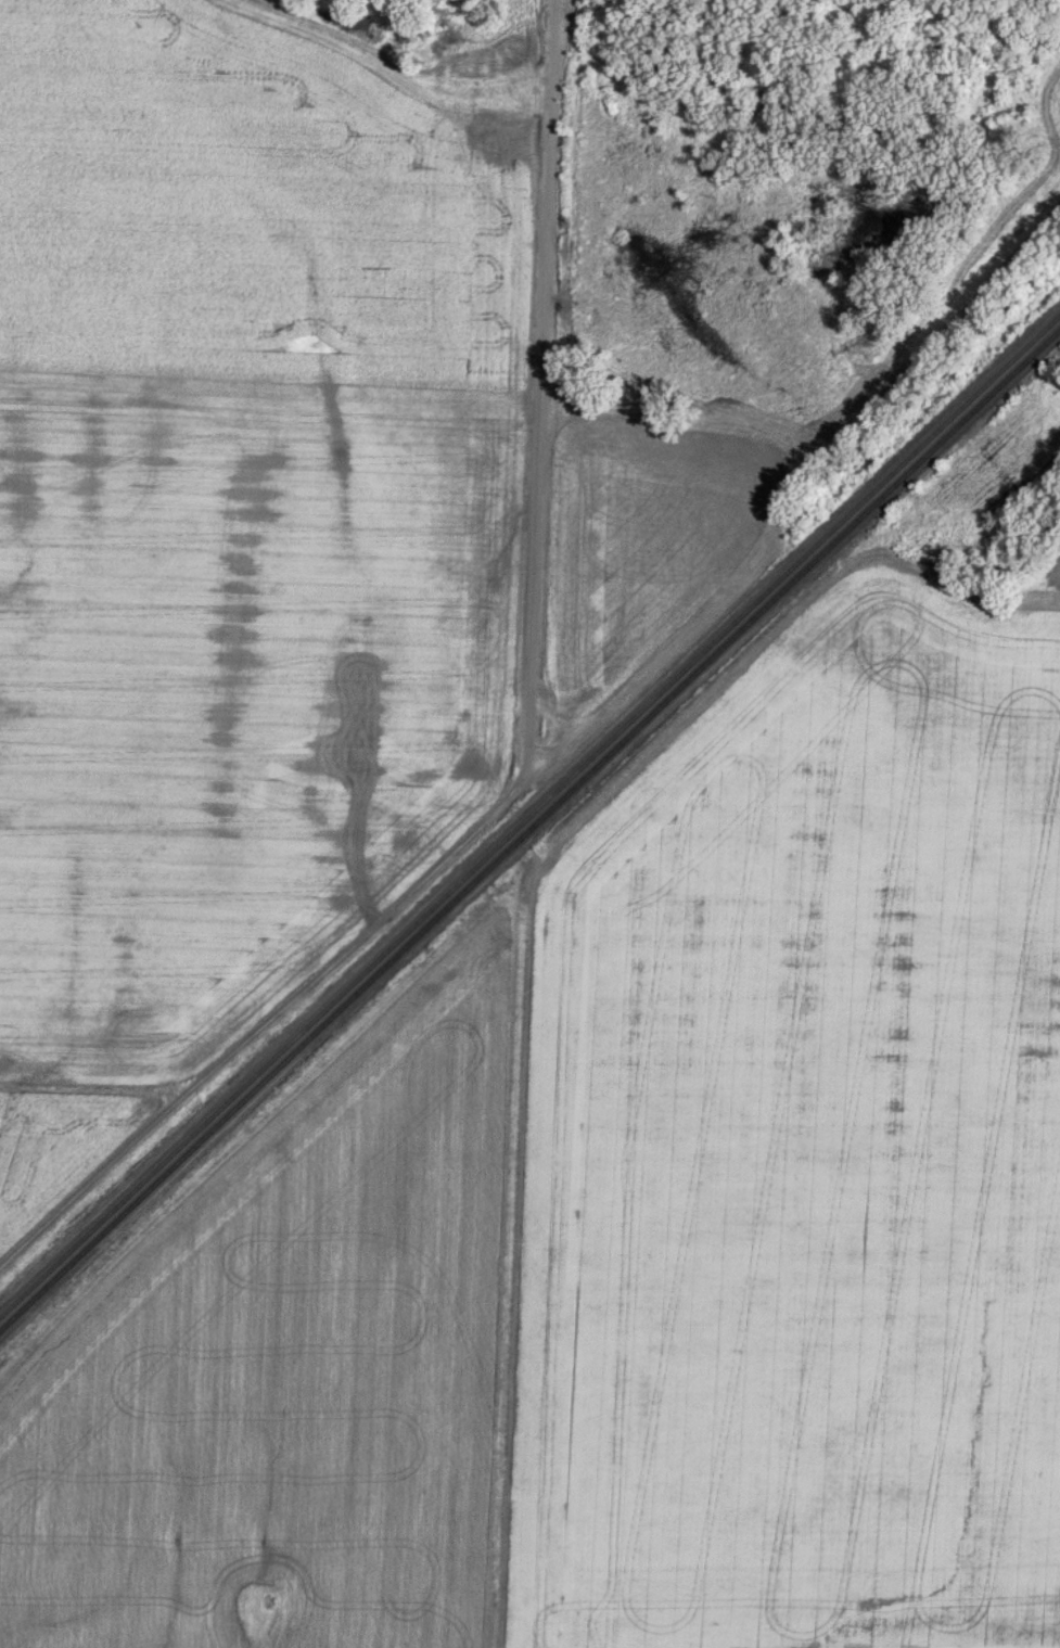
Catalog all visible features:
road: (528, 745)
railway: (529, 818)
railway: (534, 840)

